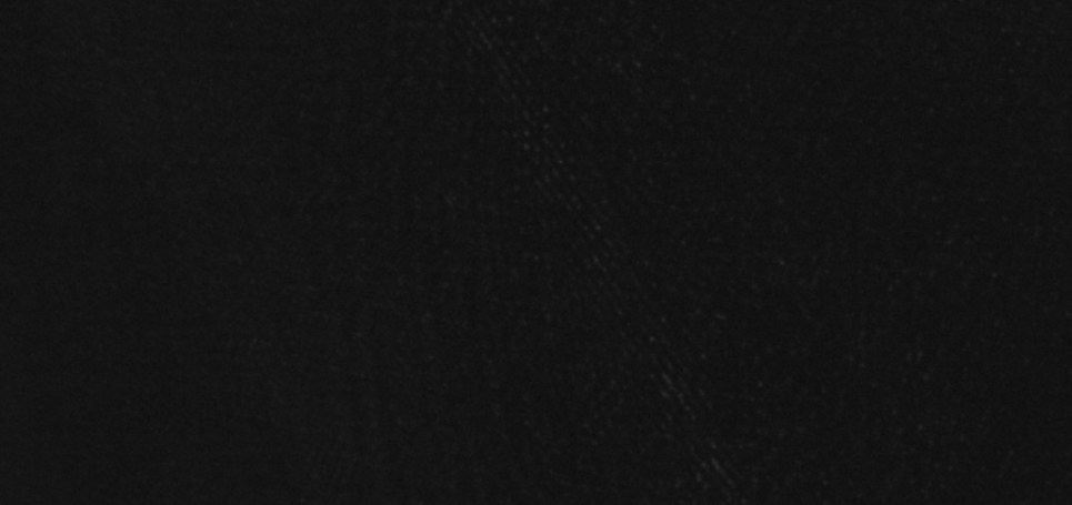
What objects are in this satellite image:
river: (821, 252)

